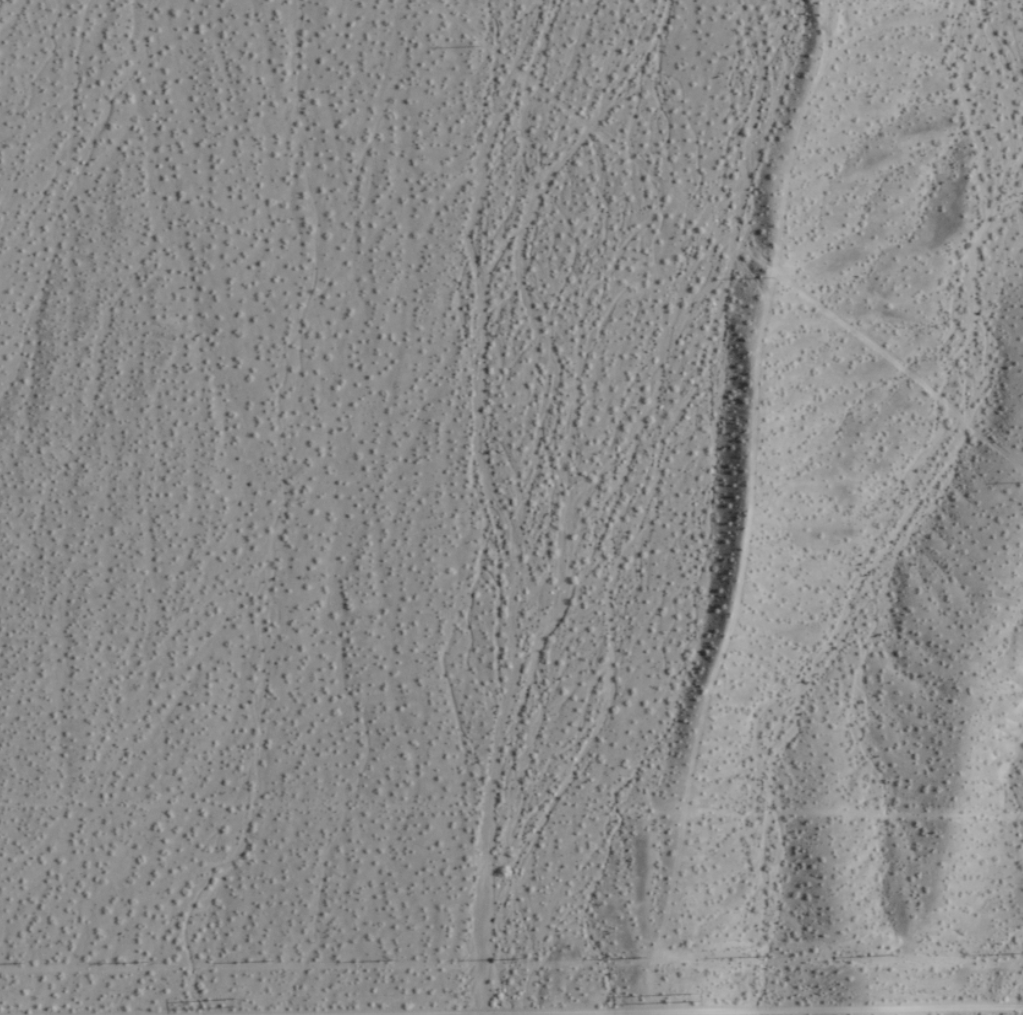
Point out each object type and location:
power tower: (688, 996)
power tower: (230, 1000)
road: (621, 1009)

